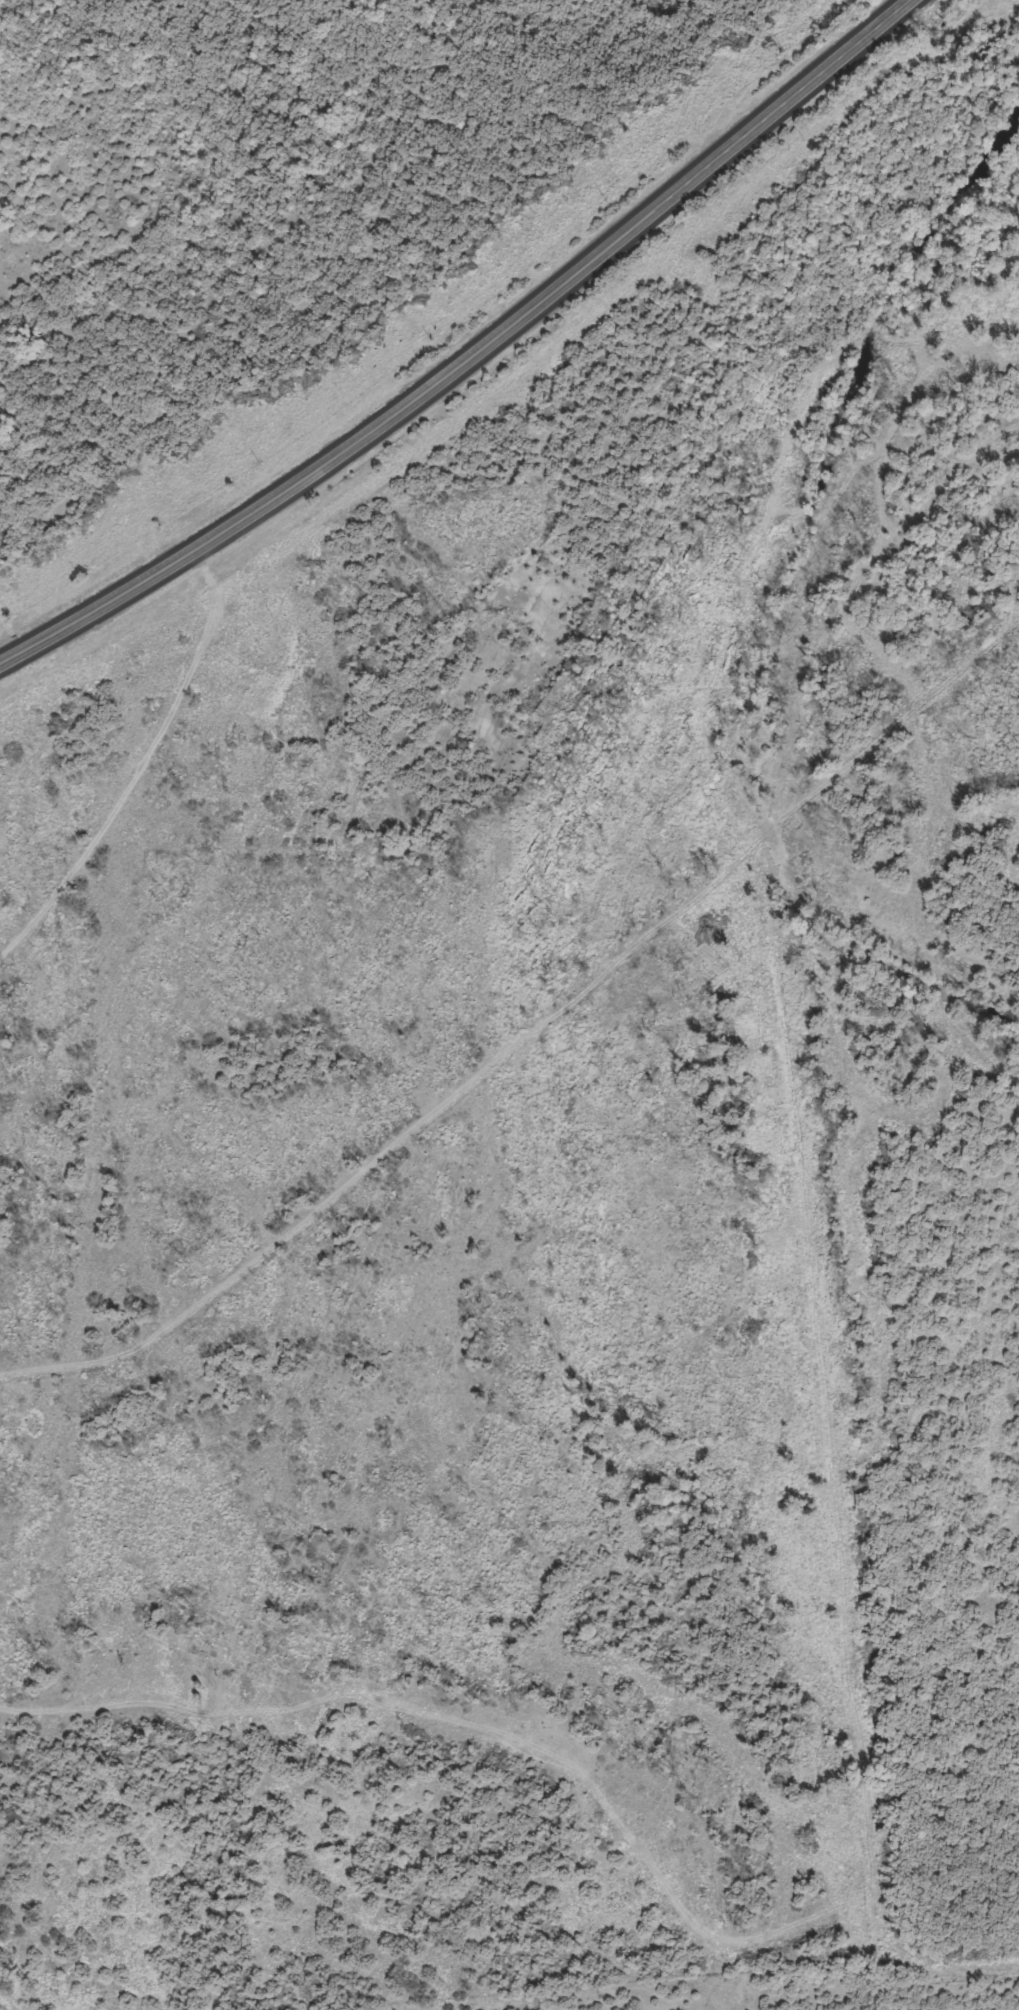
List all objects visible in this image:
road: (475, 357)
road: (144, 763)
road: (18, 1705)

